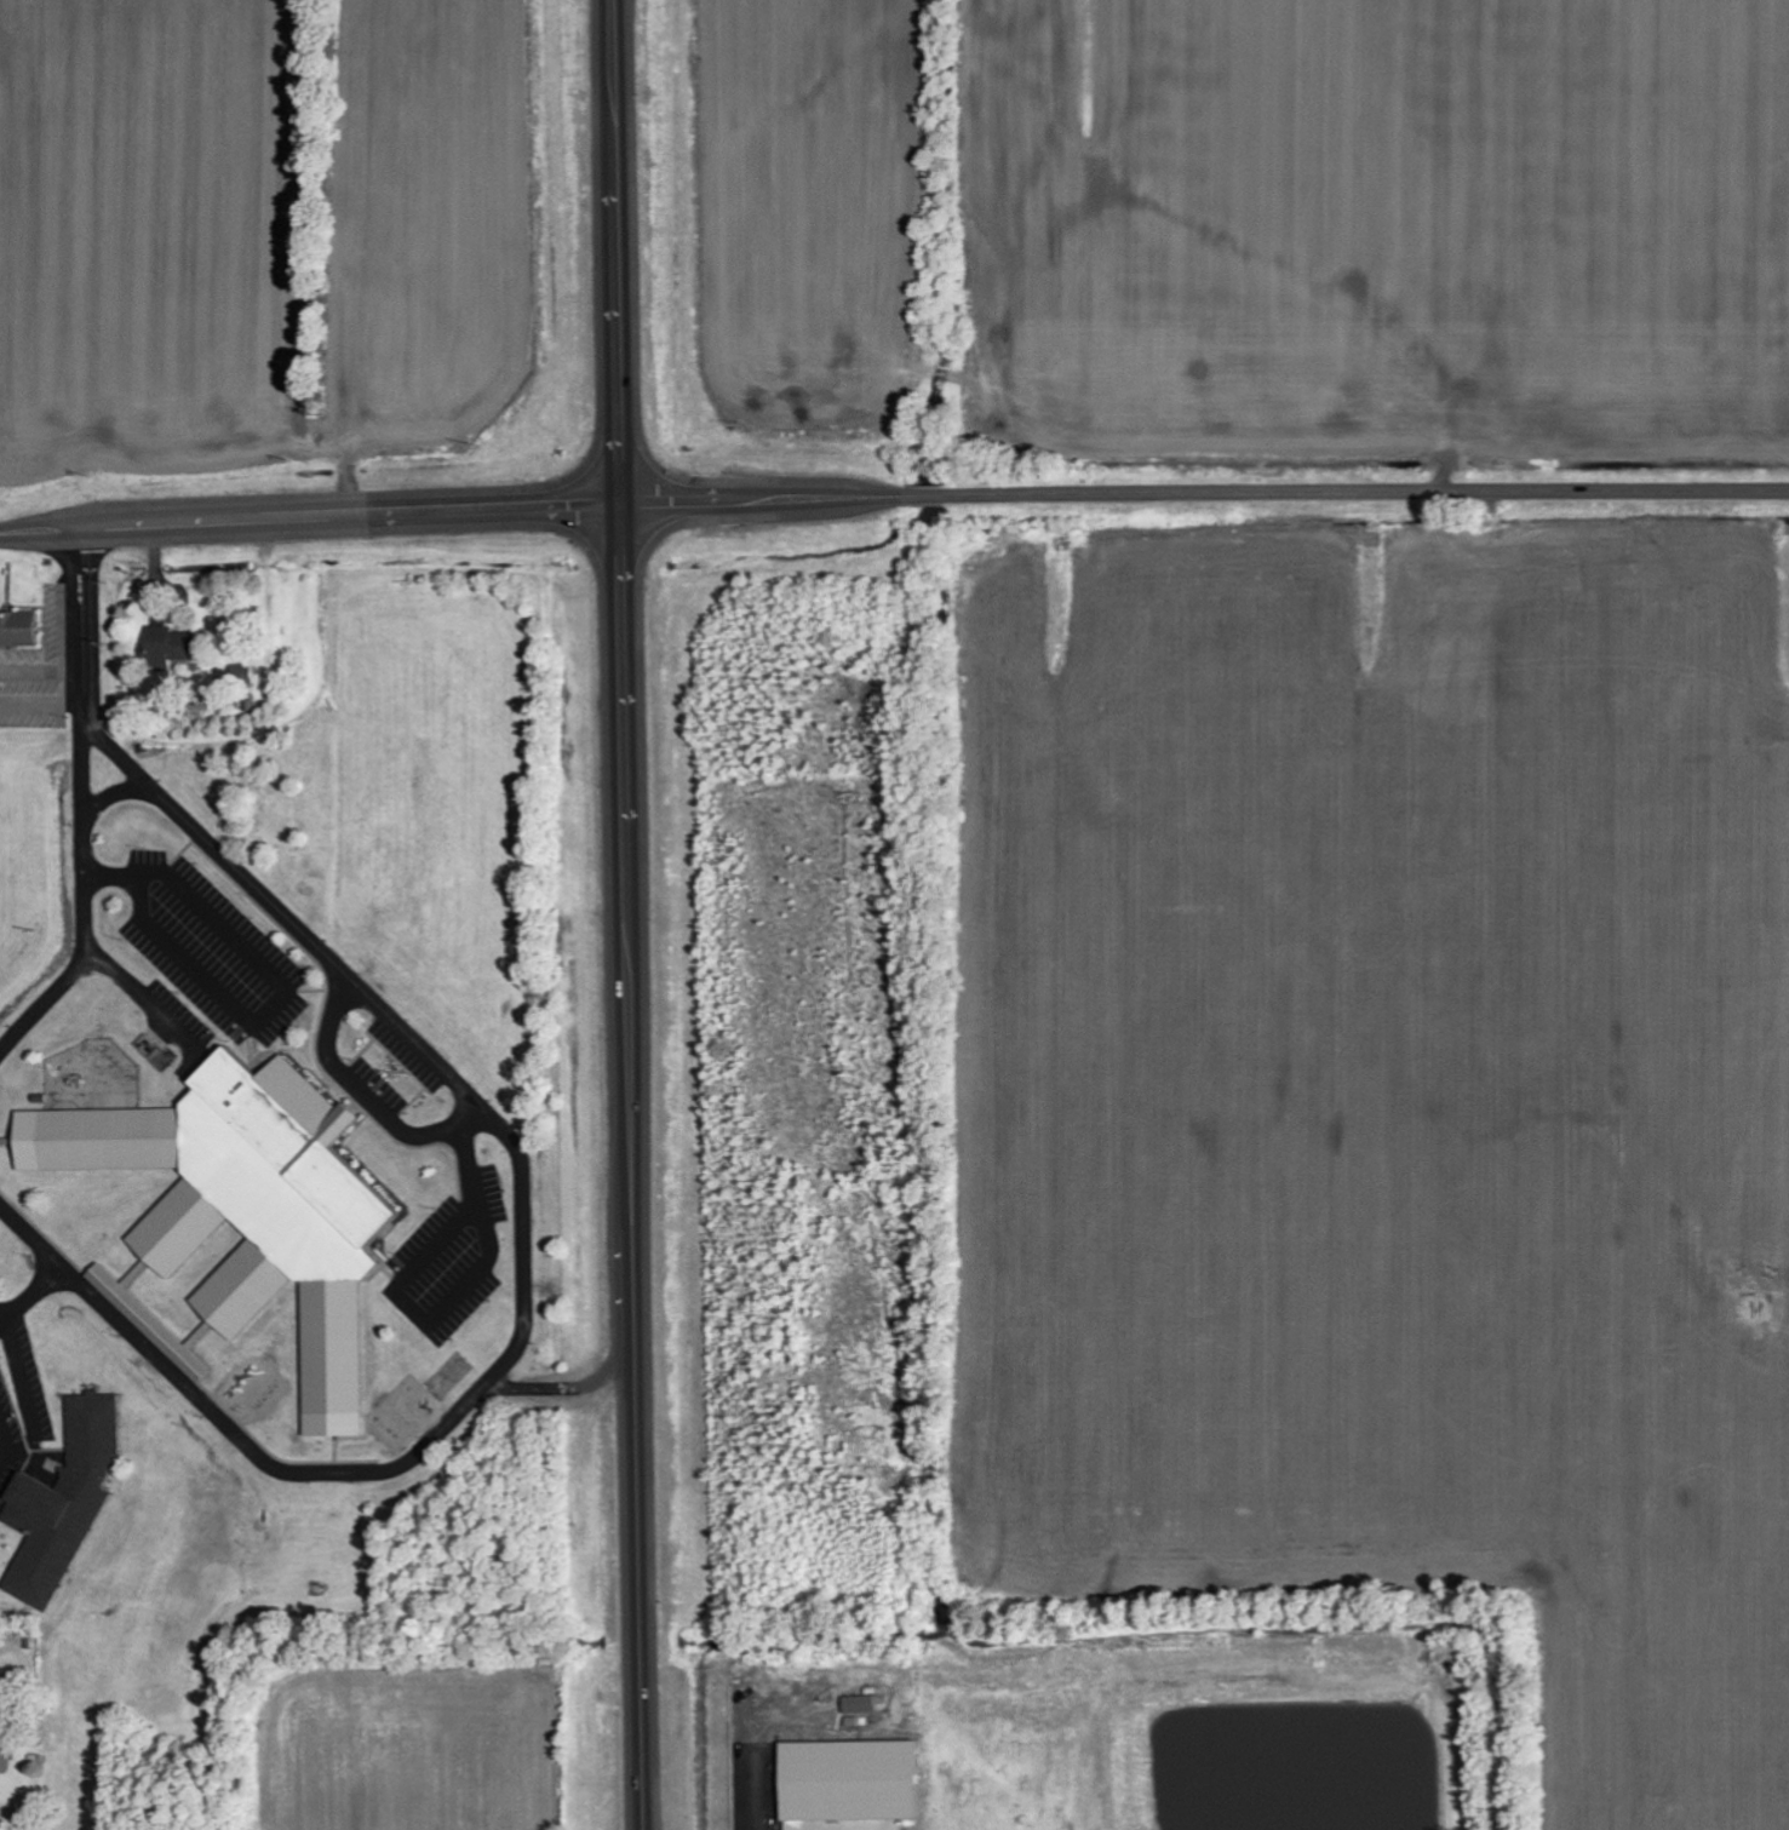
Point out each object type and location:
road: (1114, 493)
road: (220, 522)
building: (17, 630)
building: (166, 647)
building: (245, 675)
road: (81, 746)
road: (110, 792)
road: (629, 914)
road: (102, 964)
road: (283, 988)
road: (362, 1096)
building: (68, 1102)
building: (6, 1140)
road: (6, 1140)
building: (243, 1206)
road: (41, 1232)
road: (522, 1232)
road: (56, 1266)
road: (127, 1279)
road: (396, 1284)
building: (147, 1323)
road: (141, 1327)
road: (190, 1341)
road: (19, 1373)
park: (452, 1376)
road: (569, 1386)
road: (275, 1456)
building: (62, 1501)
building: (859, 1704)
building: (848, 1780)

